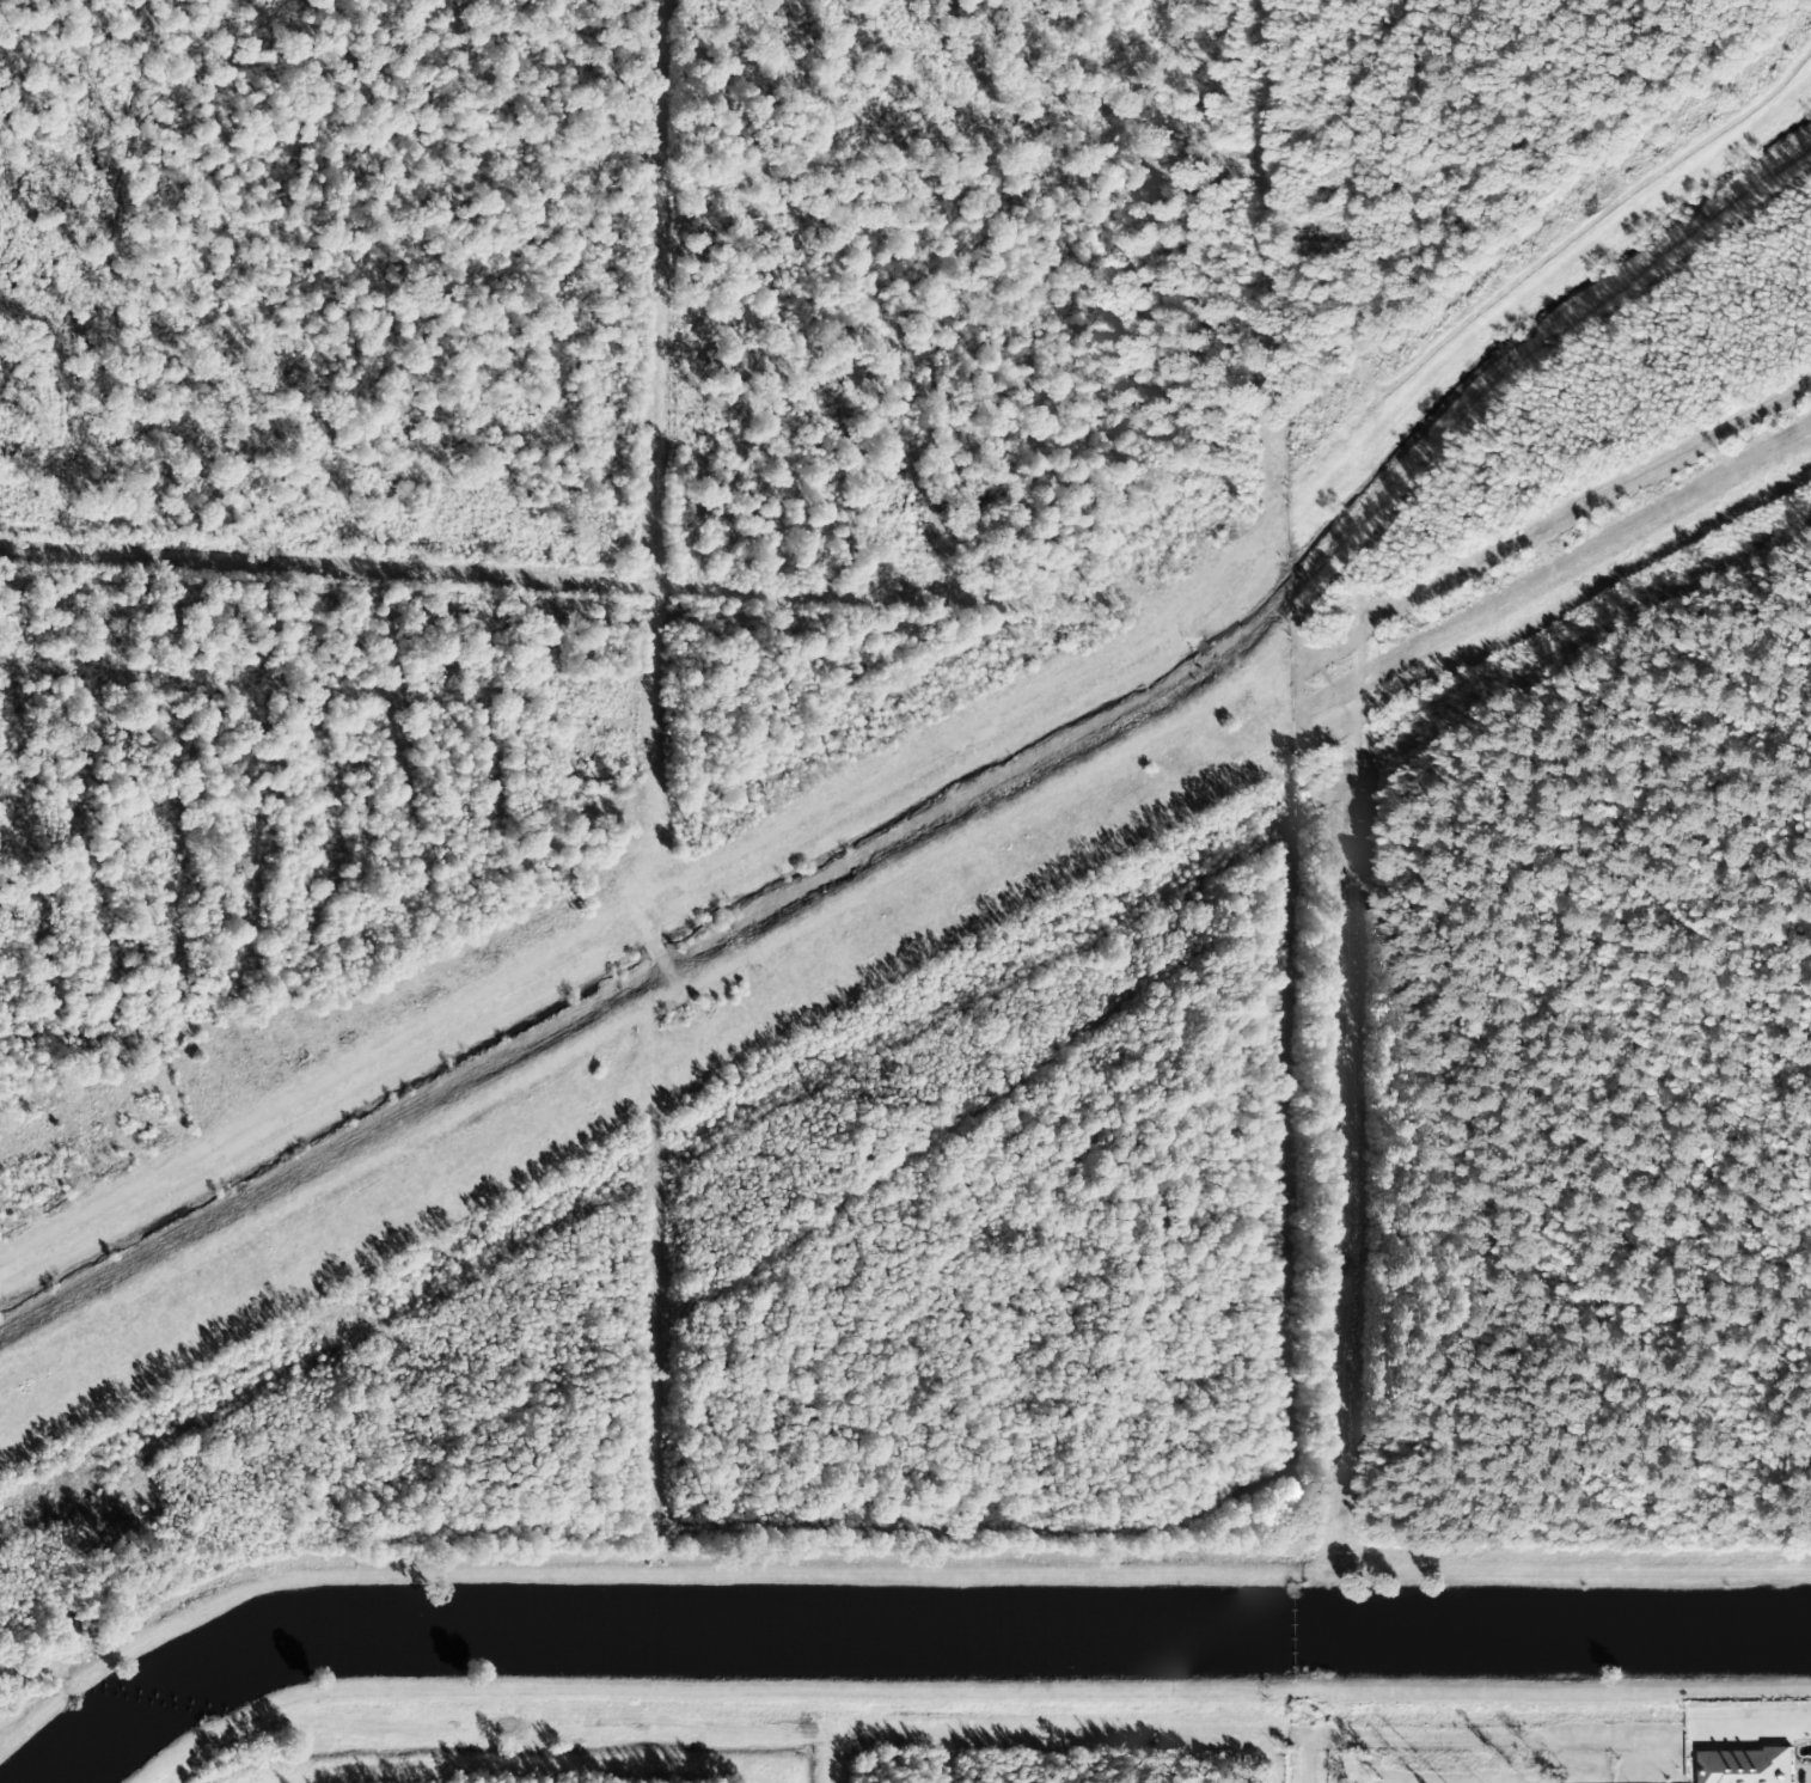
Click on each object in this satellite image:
road: (1310, 1755)
building: (1746, 1766)

